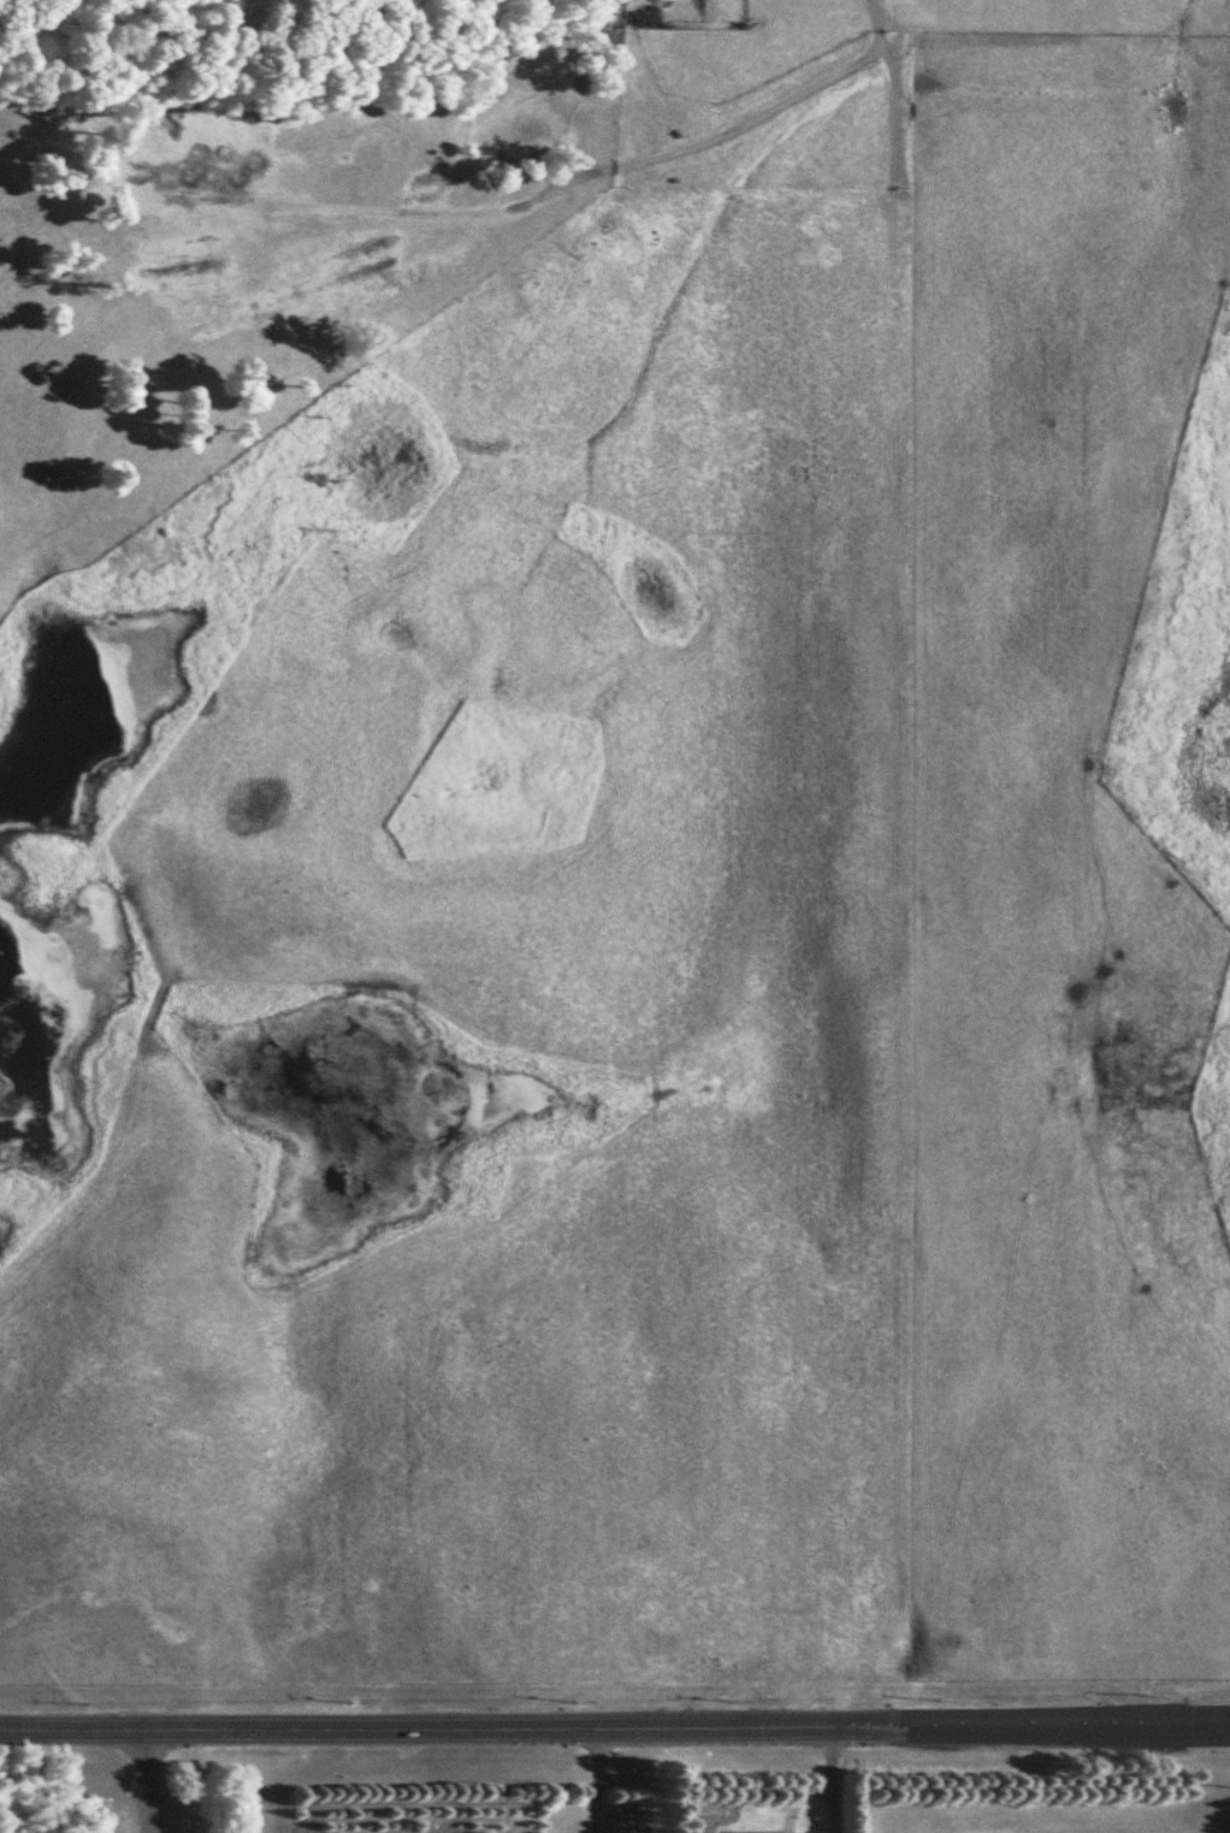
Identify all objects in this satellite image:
road: (614, 1726)
road: (830, 1779)
road: (142, 1780)
building: (762, 1832)

